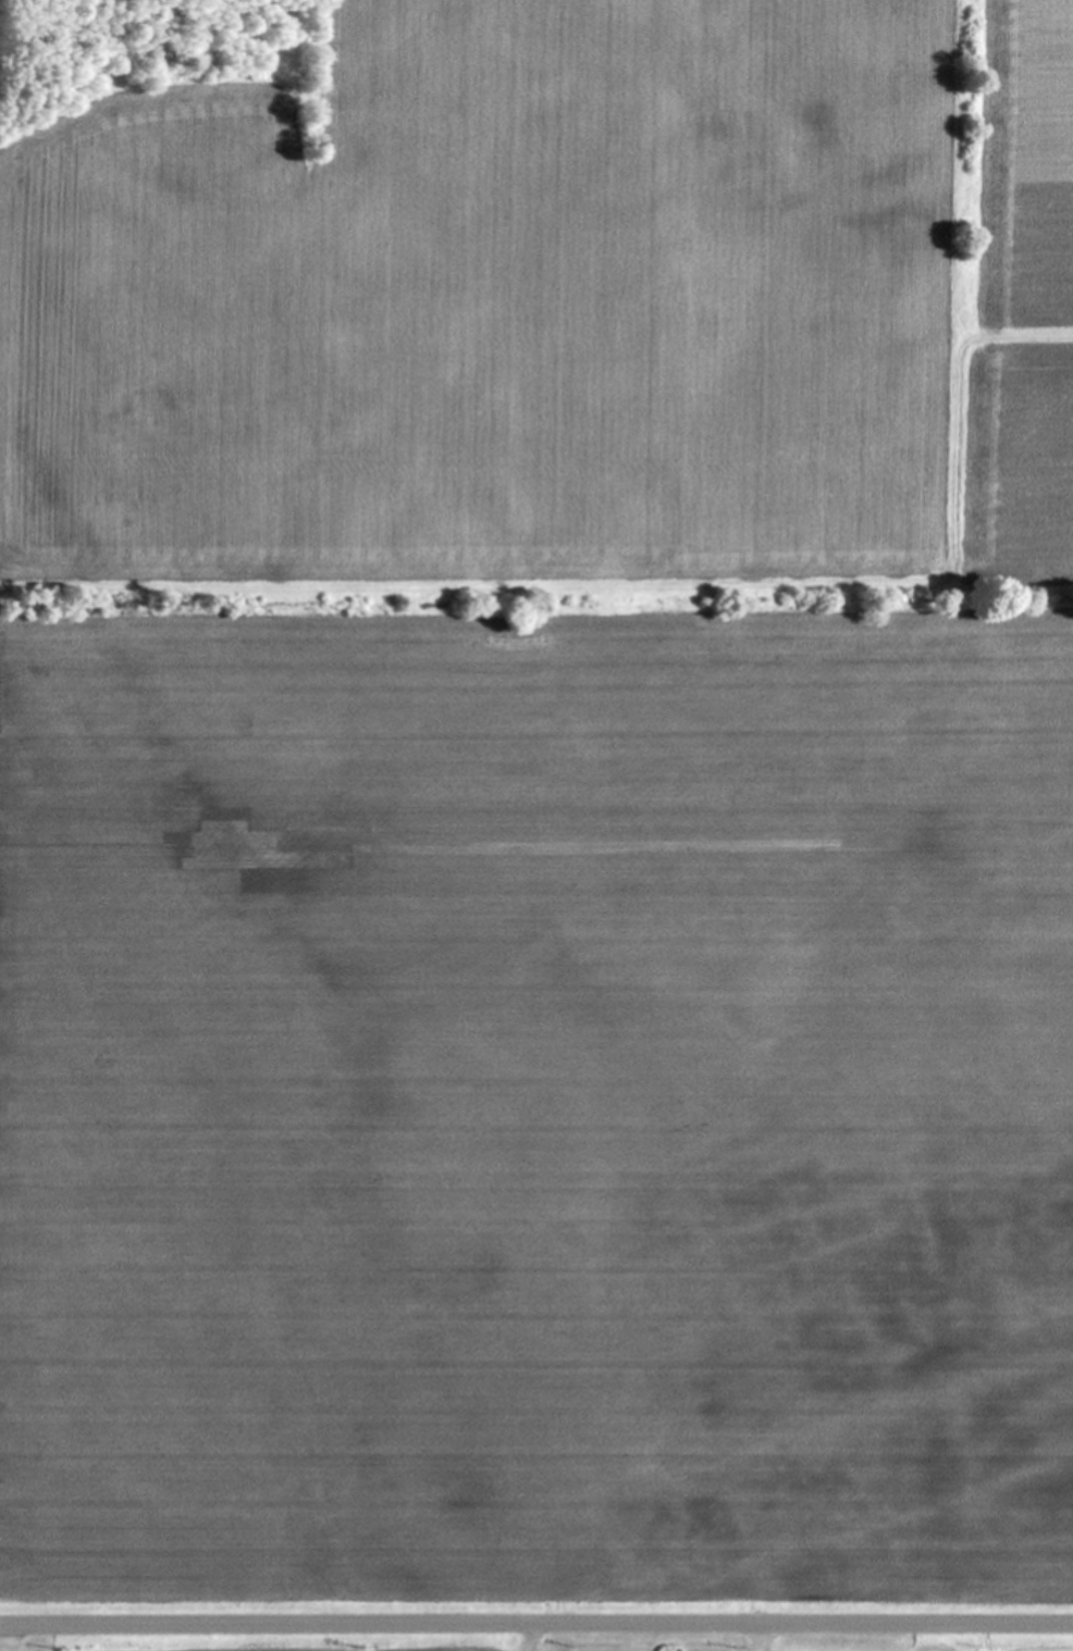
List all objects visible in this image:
road: (536, 1622)

